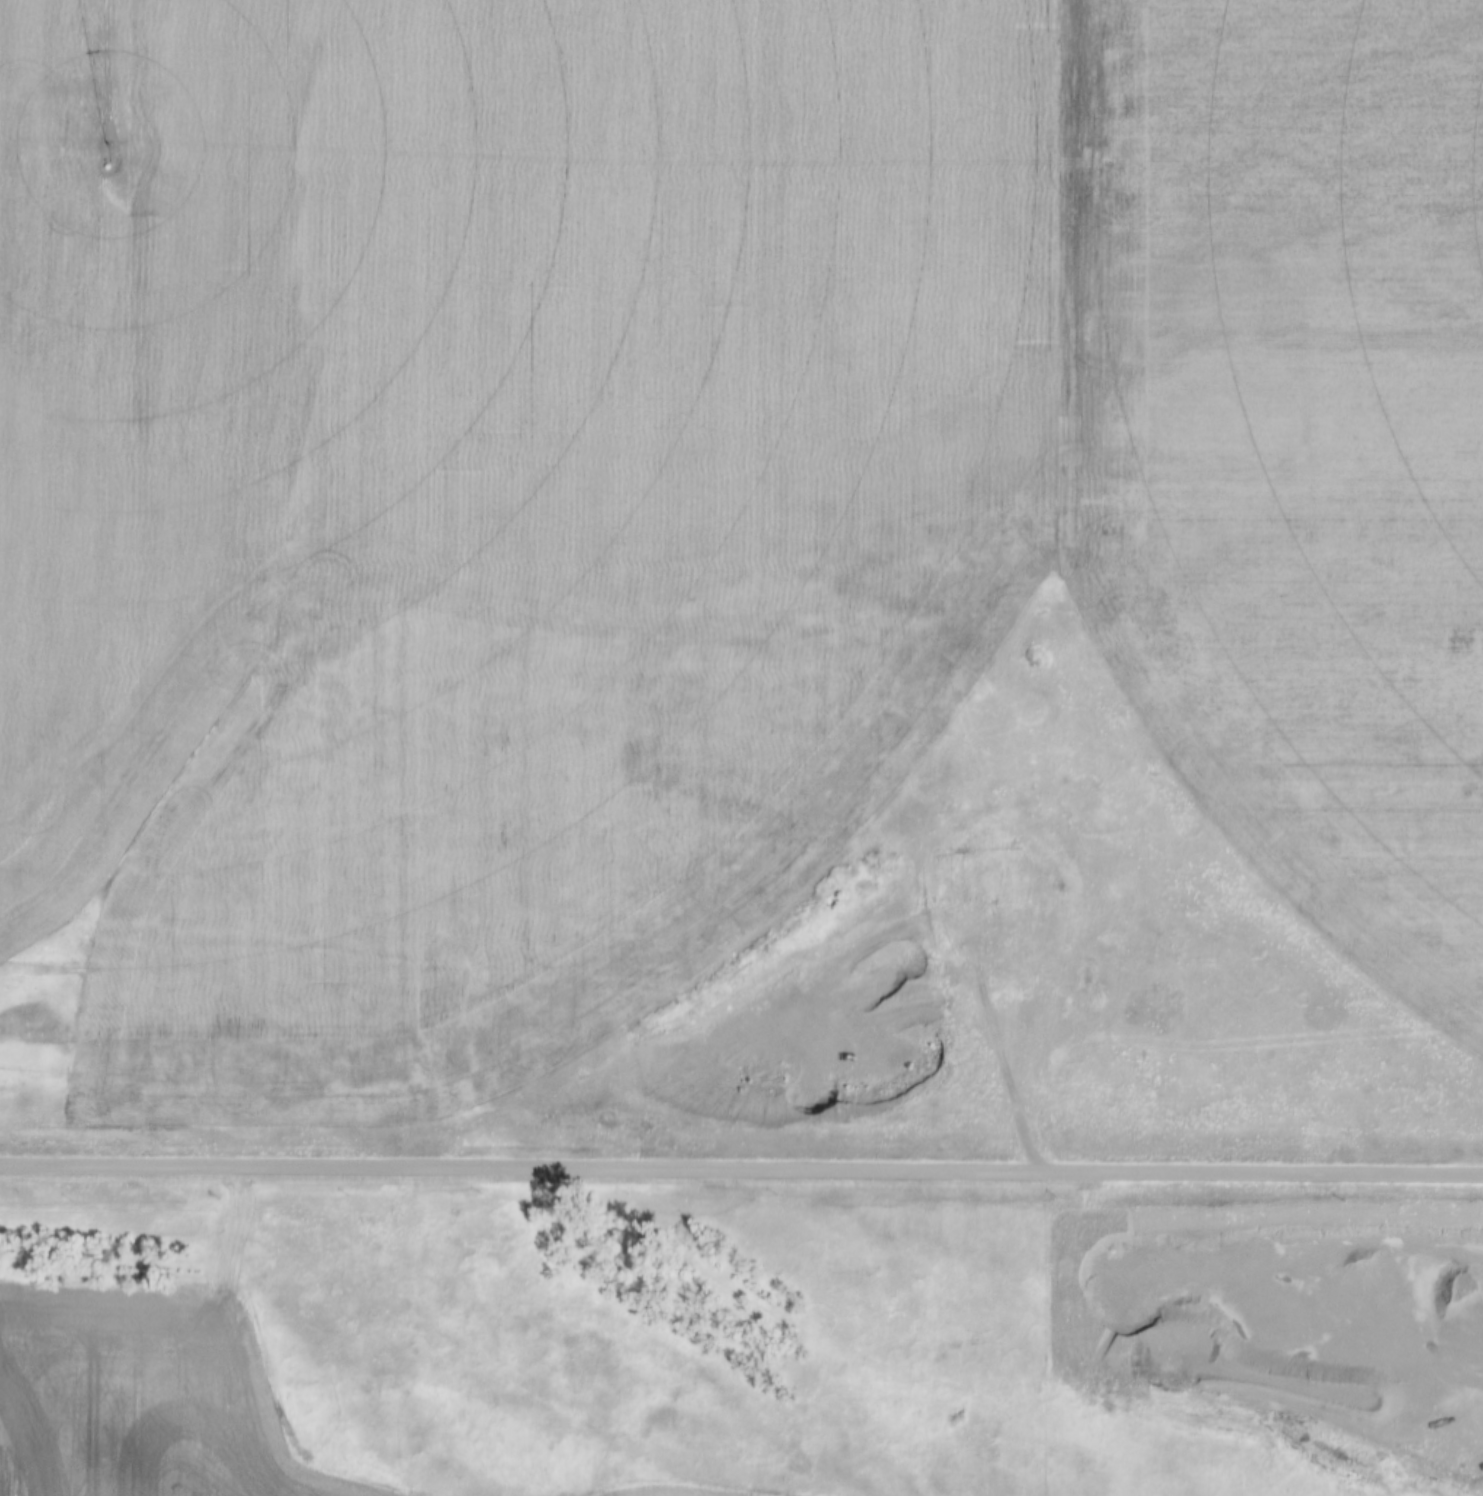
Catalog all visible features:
quarry: (946, 986)
road: (741, 1169)
building: (476, 1260)
building: (444, 1295)
building: (306, 1309)
quarry: (1383, 1338)

